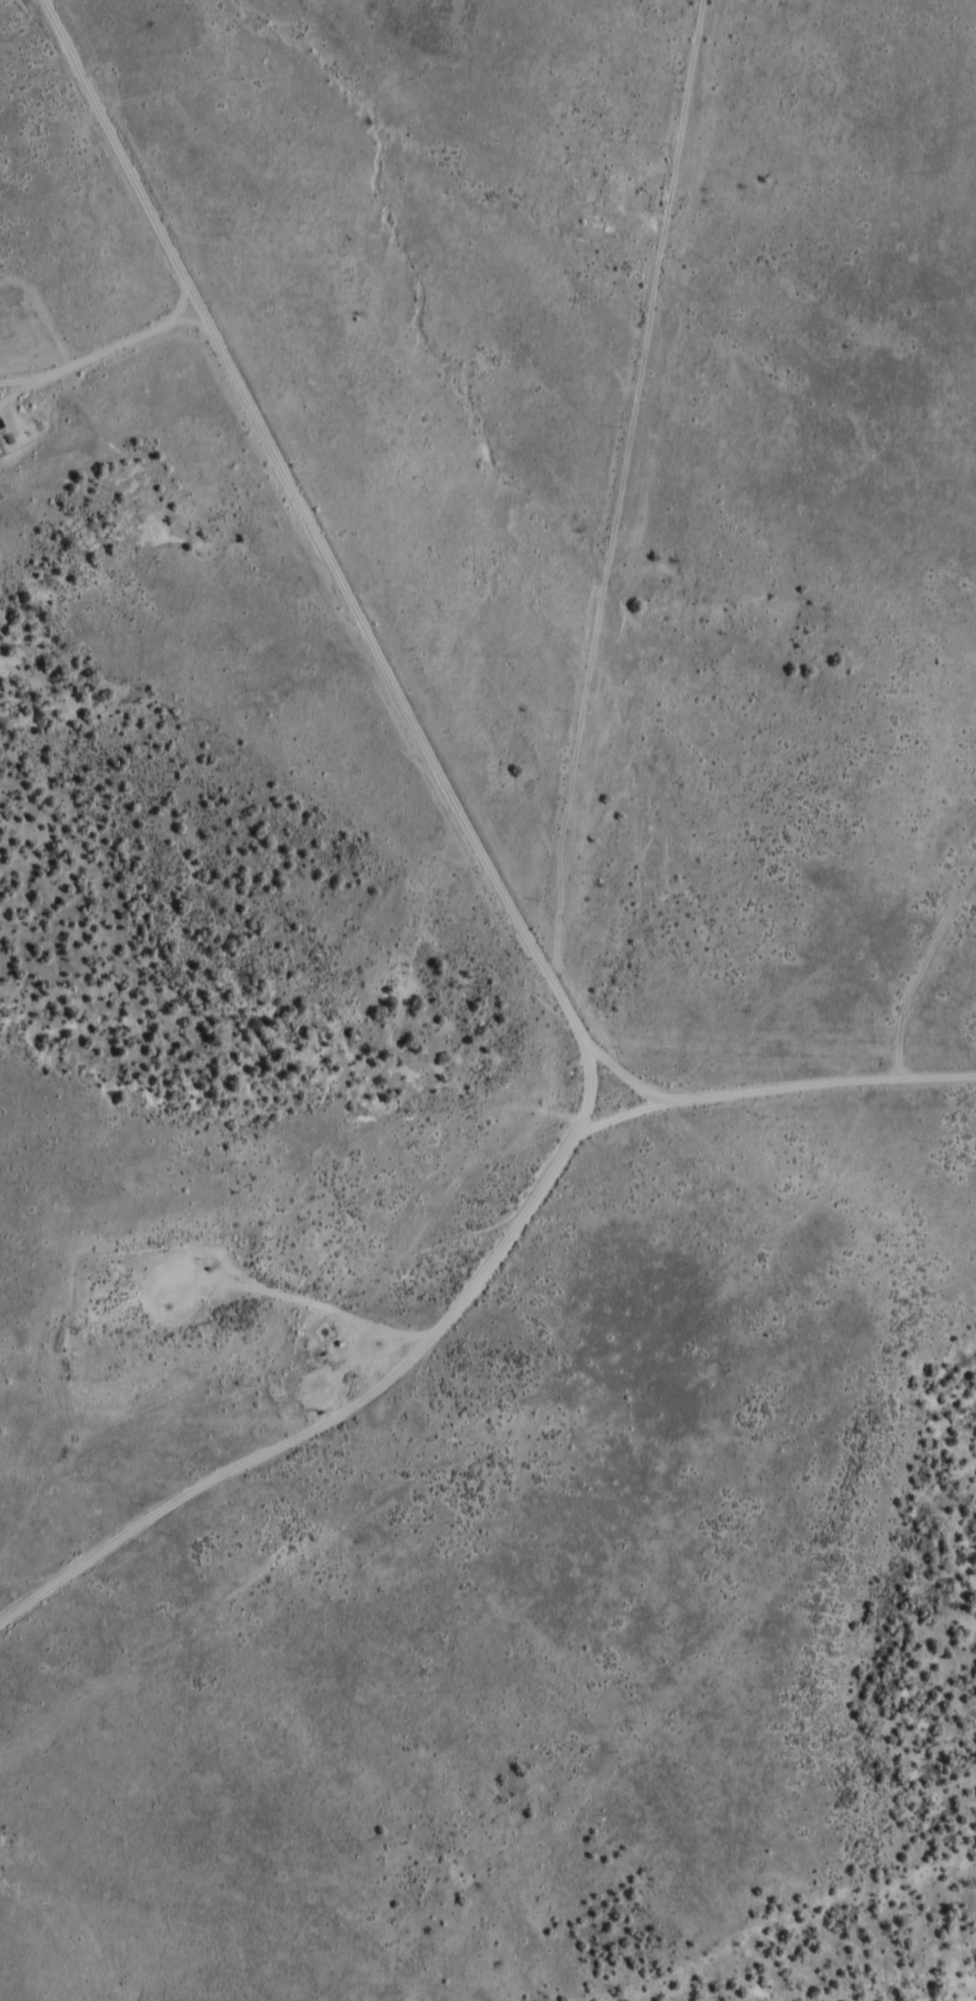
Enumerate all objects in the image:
road: (237, 459)
road: (579, 534)
road: (426, 1178)

